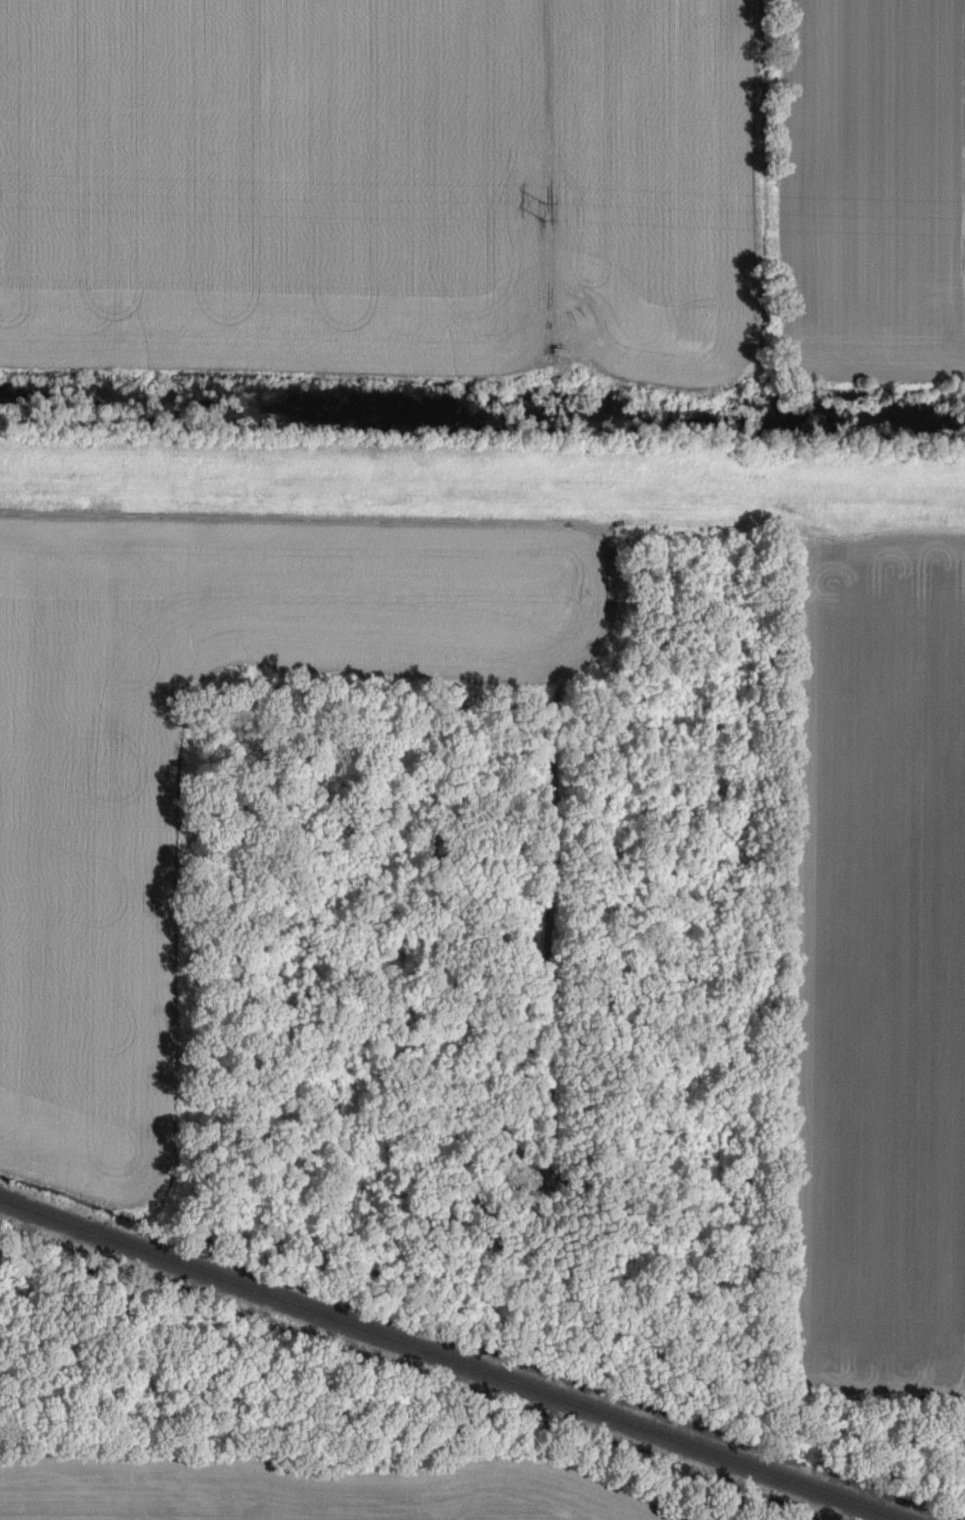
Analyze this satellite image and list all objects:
road: (550, 184)
power tower: (547, 215)
road: (445, 458)
road: (408, 518)
road: (780, 524)
railway: (452, 1358)
road: (916, 1400)

